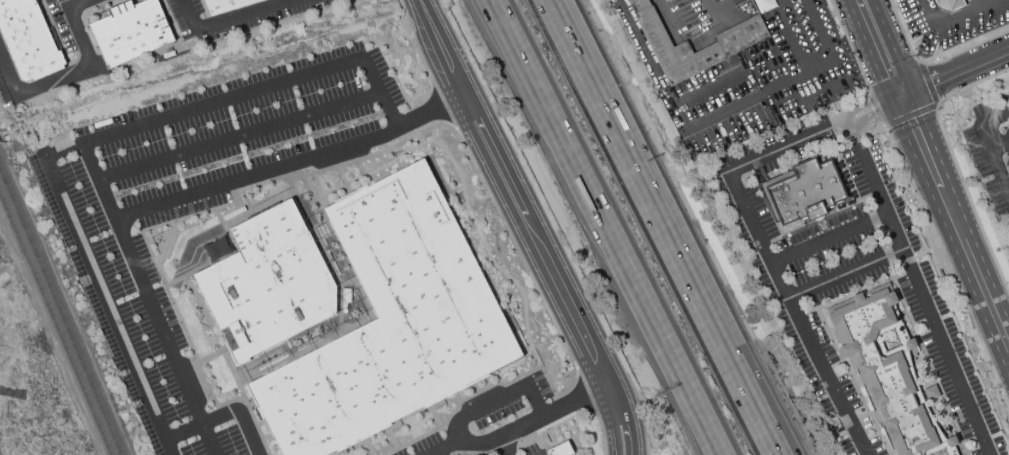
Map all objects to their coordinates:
road: (67, 4)
road: (77, 4)
building: (950, 4)
building: (225, 5)
road: (716, 12)
road: (228, 16)
road: (955, 16)
road: (668, 19)
building: (130, 31)
road: (822, 37)
building: (28, 40)
road: (790, 43)
building: (732, 44)
road: (878, 45)
road: (648, 50)
road: (954, 74)
road: (774, 75)
road: (61, 77)
road: (719, 77)
road: (811, 85)
road: (898, 94)
traffic signals: (900, 98)
road: (901, 102)
road: (869, 103)
road: (732, 106)
road: (931, 107)
road: (434, 109)
road: (680, 114)
road: (876, 118)
road: (883, 129)
road: (618, 131)
road: (239, 134)
road: (854, 139)
road: (997, 140)
road: (988, 145)
road: (788, 146)
road: (84, 149)
parking lot: (986, 151)
road: (955, 164)
road: (1007, 187)
building: (808, 191)
road: (846, 206)
road: (867, 206)
road: (535, 225)
road: (514, 226)
road: (607, 227)
road: (955, 231)
road: (829, 237)
road: (882, 239)
road: (929, 252)
road: (937, 260)
road: (907, 263)
road: (893, 266)
road: (846, 273)
building: (268, 283)
road: (919, 288)
road: (100, 289)
railway: (61, 311)
road: (798, 312)
building: (391, 322)
railway: (55, 324)
road: (165, 336)
building: (910, 343)
road: (733, 359)
road: (737, 359)
building: (883, 368)
building: (932, 395)
road: (500, 400)
road: (549, 412)
road: (223, 413)
road: (464, 437)
building: (561, 450)

